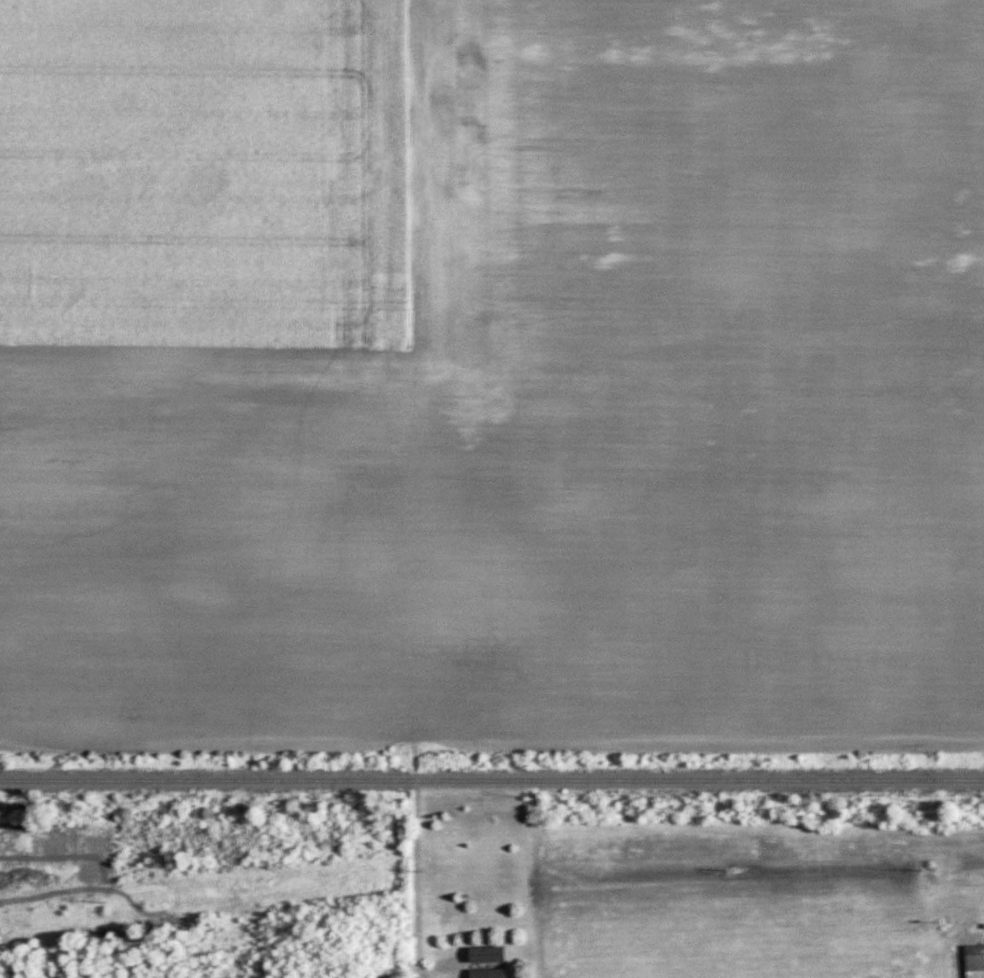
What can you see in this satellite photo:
railway: (699, 781)
railway: (207, 782)
road: (418, 900)
building: (491, 955)
building: (976, 962)
building: (492, 974)

